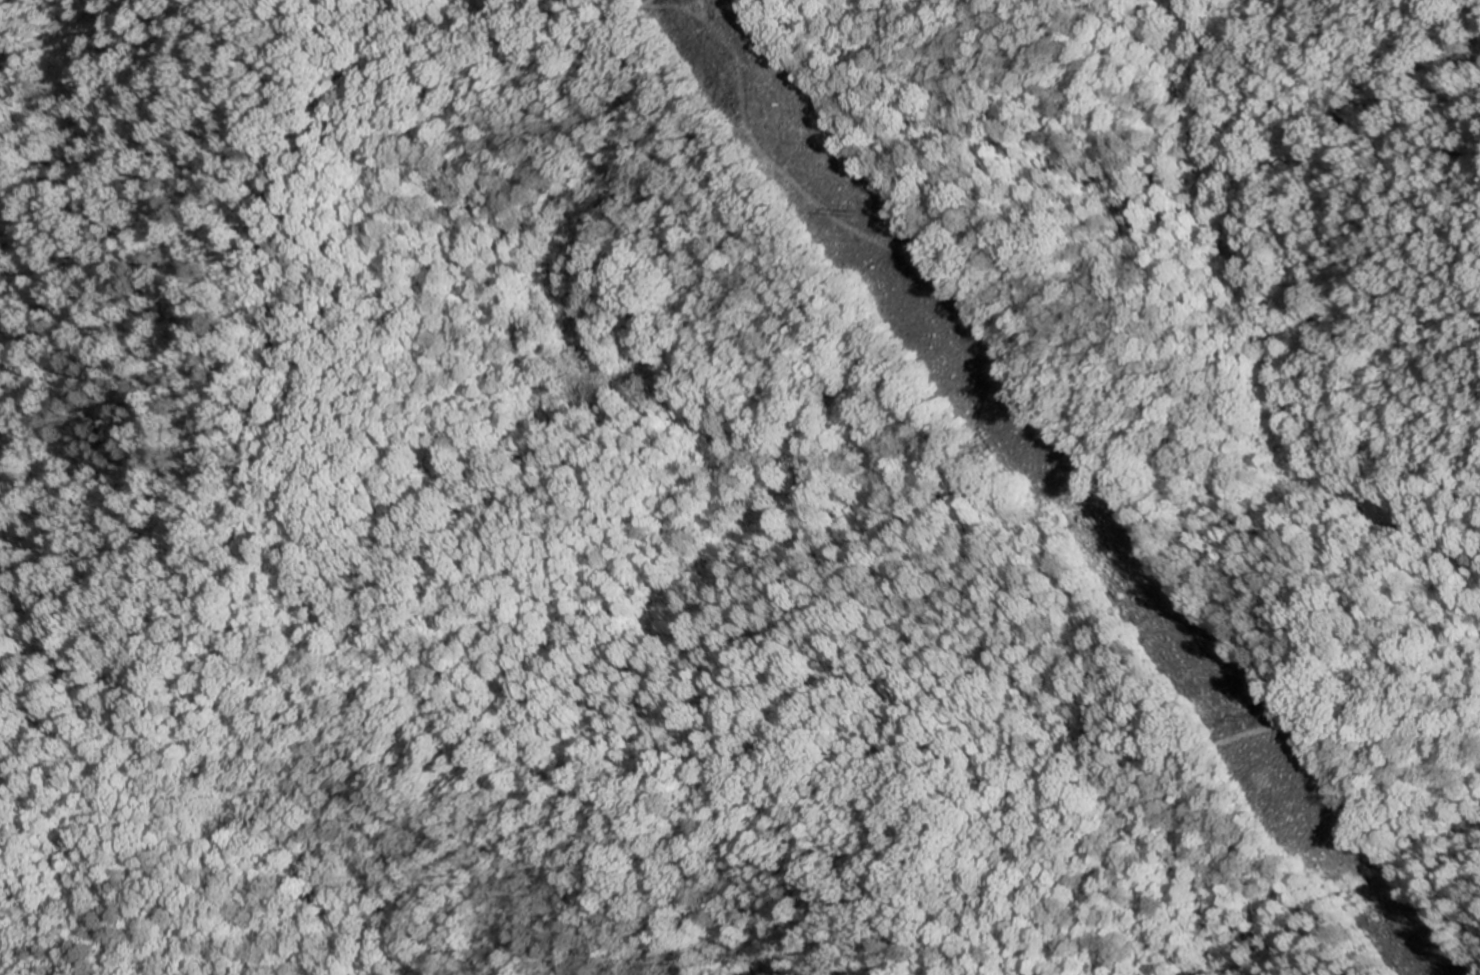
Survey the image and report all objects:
road: (1226, 342)
road: (77, 889)

